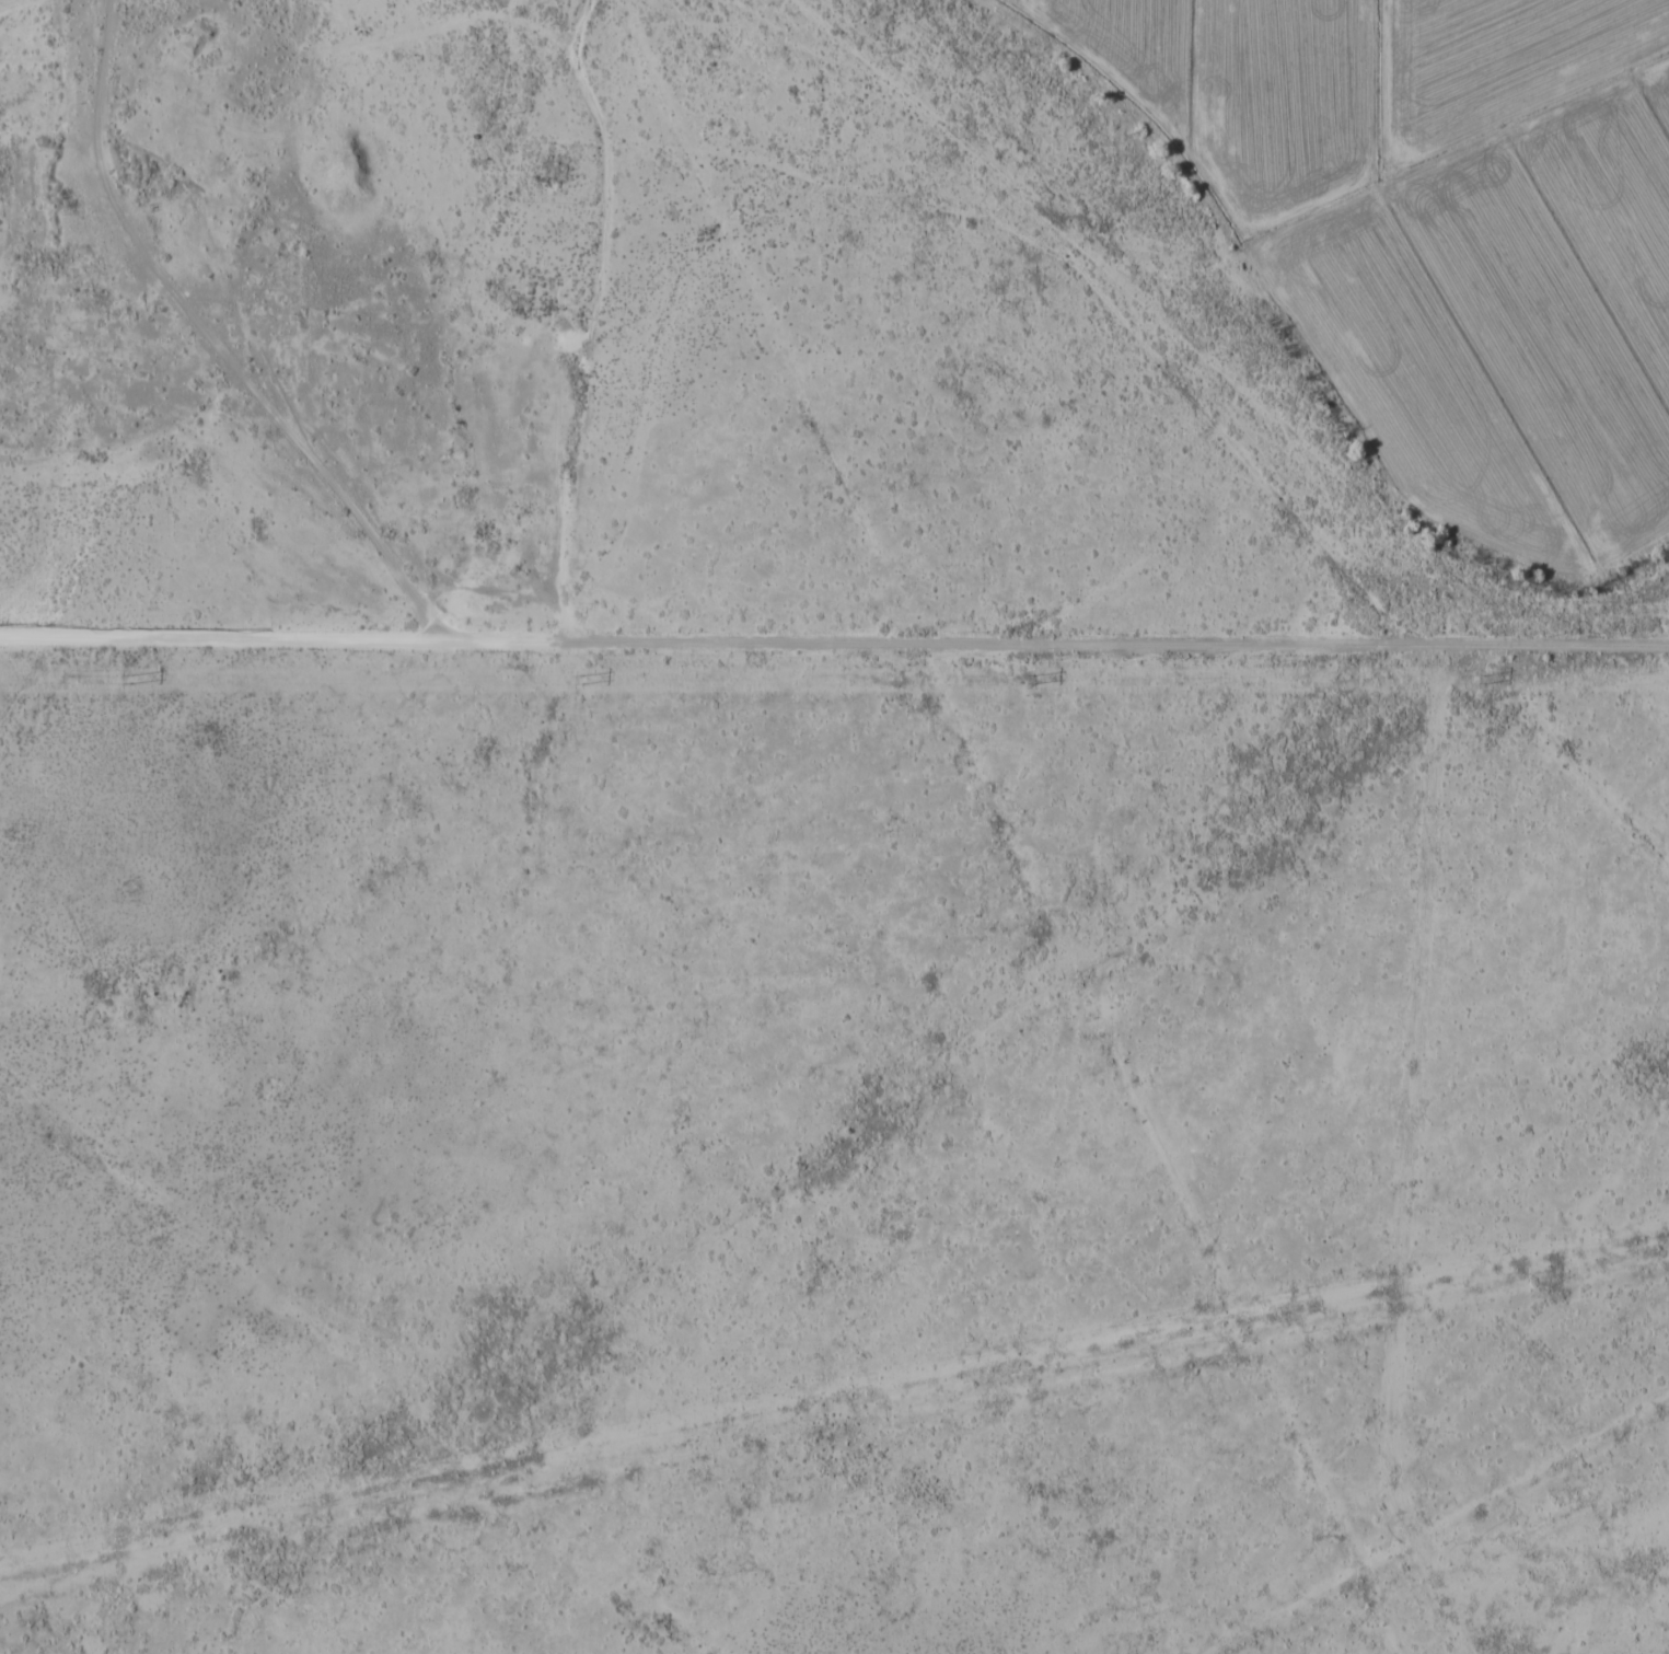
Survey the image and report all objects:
road: (208, 340)
road: (210, 635)
road: (1045, 639)
power tower: (125, 679)
power tower: (1029, 679)
power tower: (576, 680)
power tower: (1477, 680)

